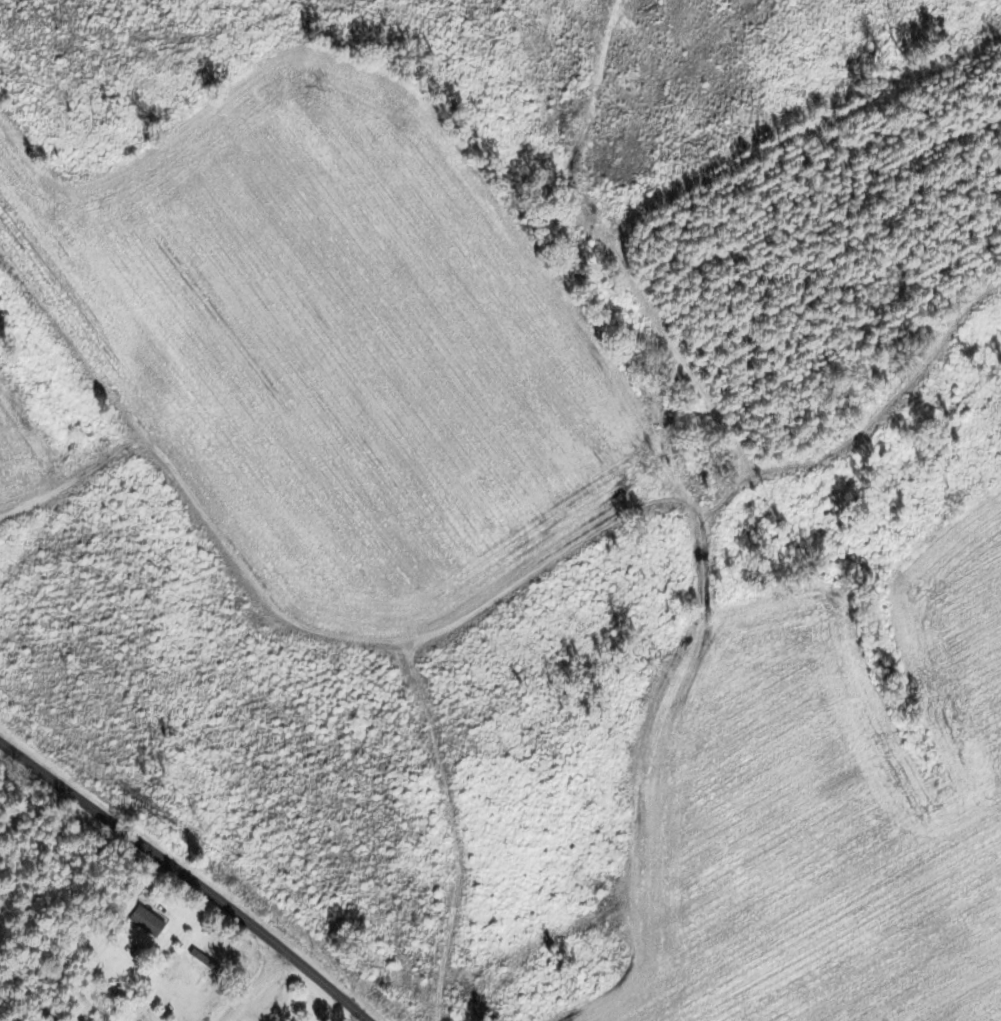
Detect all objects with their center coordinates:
road: (73, 793)
building: (137, 923)
road: (246, 934)
building: (196, 957)
road: (305, 1008)

